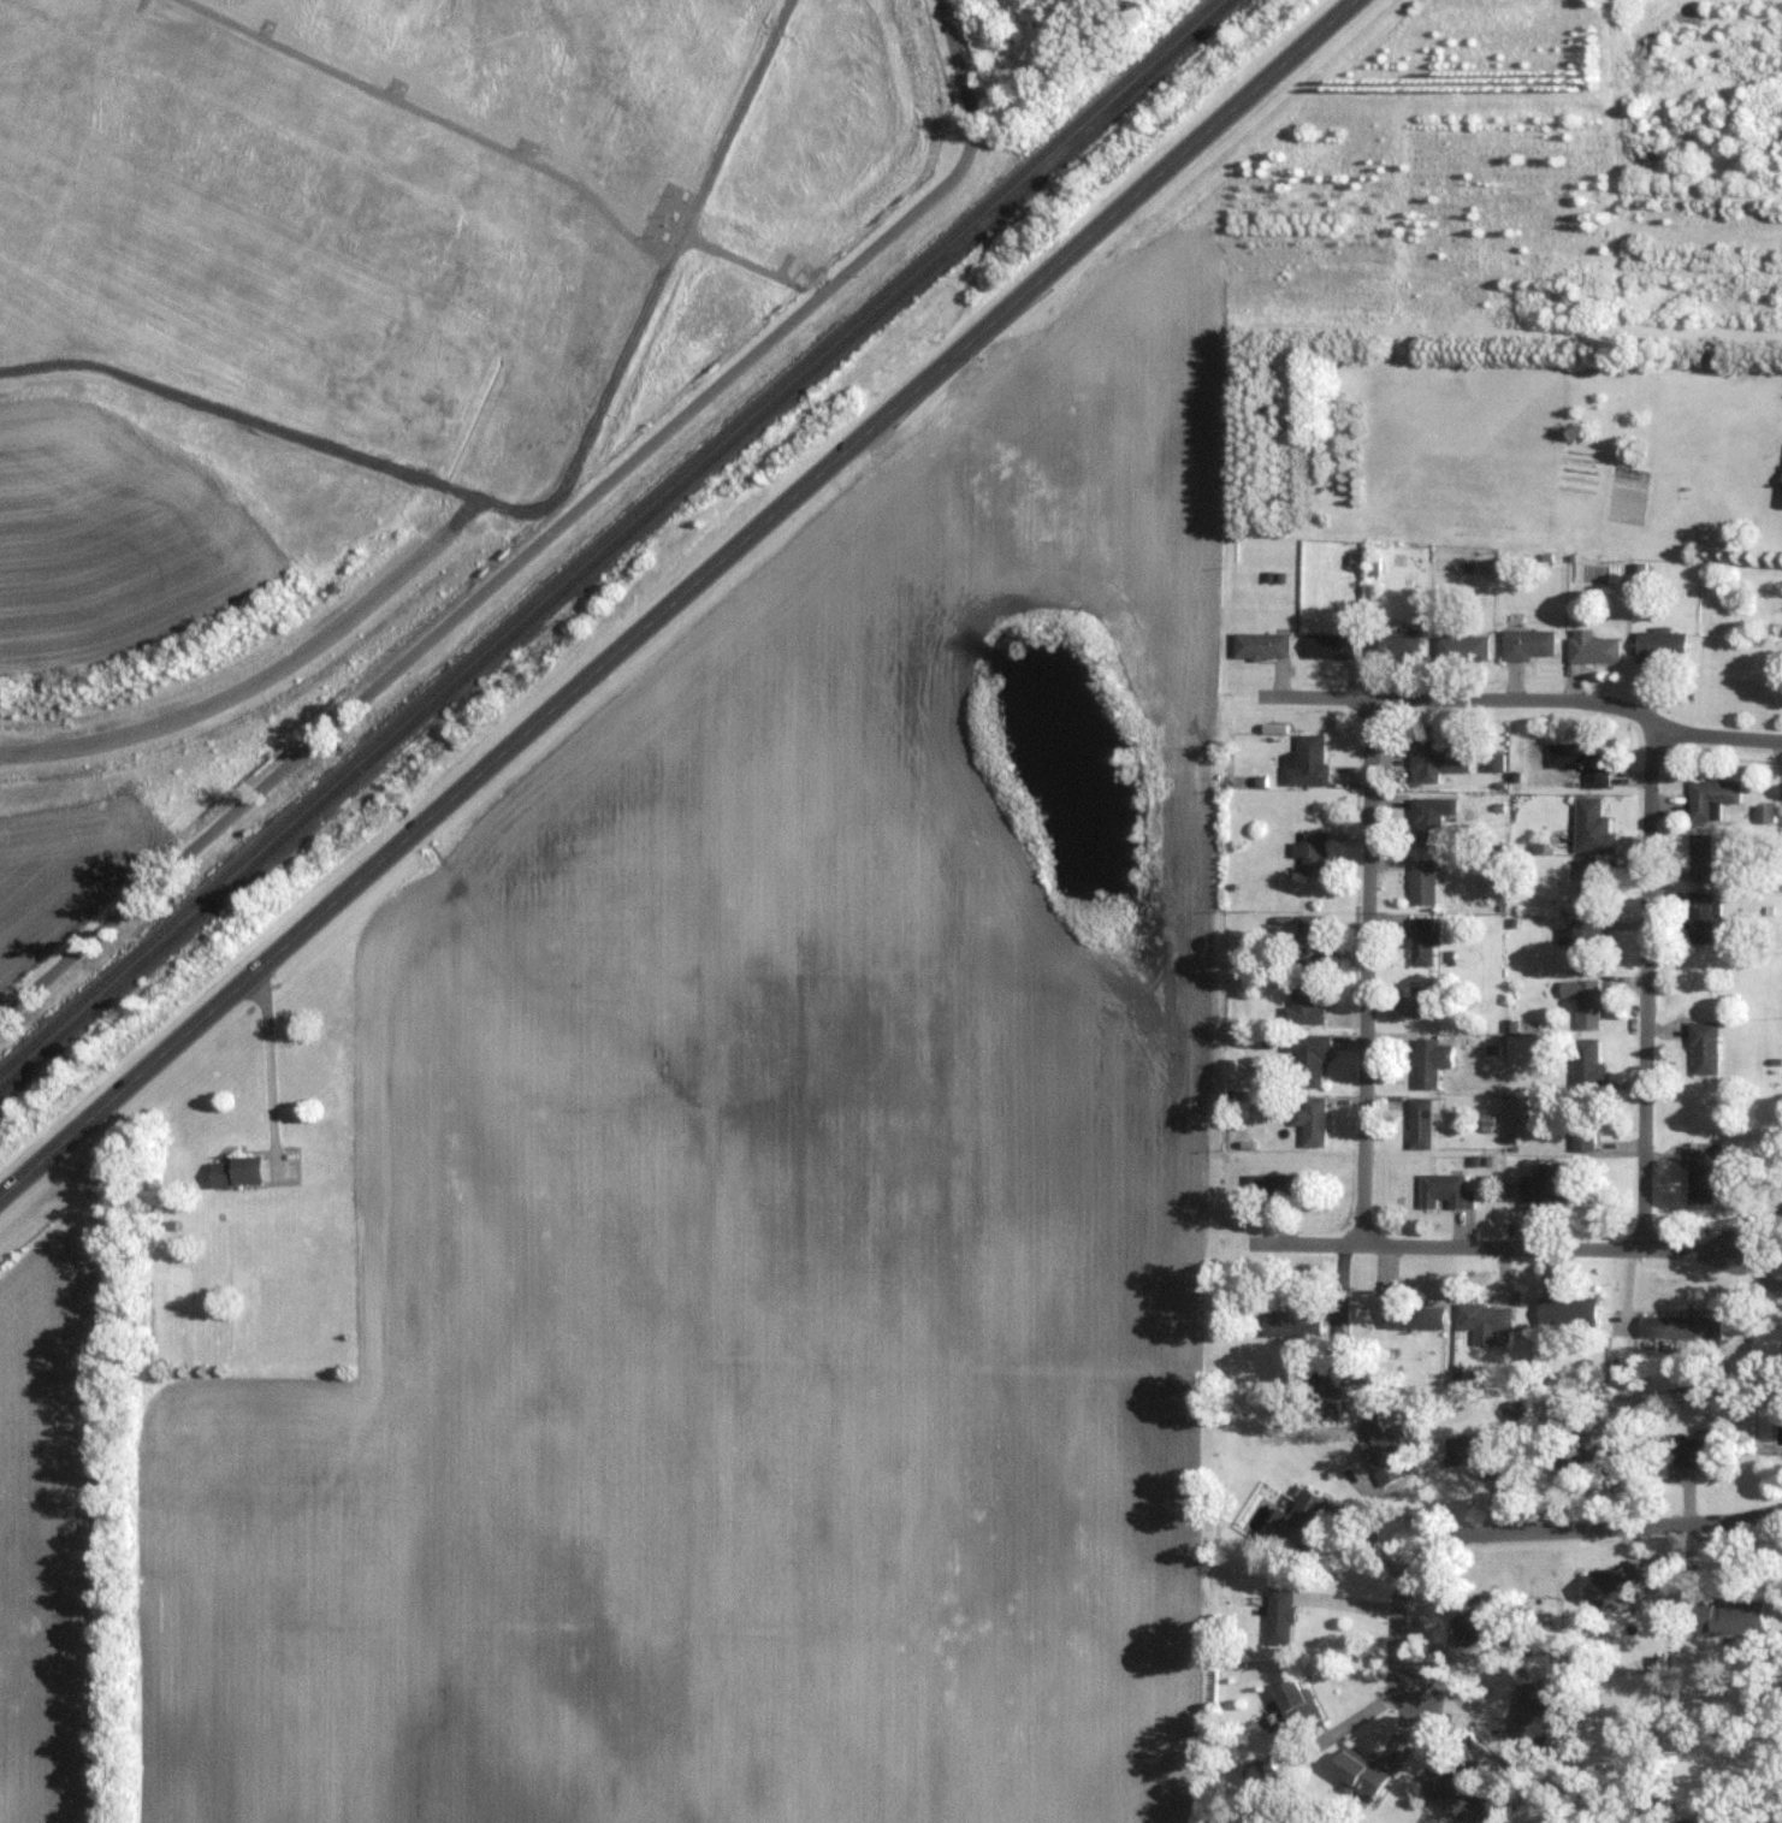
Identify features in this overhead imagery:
airport: (369, 322)
building: (1781, 484)
road: (475, 504)
road: (546, 537)
railway: (606, 537)
railway: (614, 544)
building: (1372, 564)
road: (676, 597)
building: (1392, 641)
building: (1260, 644)
building: (1526, 644)
building: (1328, 645)
building: (1658, 645)
building: (1589, 646)
building: (1460, 649)
road: (1526, 699)
building: (1306, 760)
building: (1435, 760)
building: (1579, 762)
building: (1710, 794)
building: (1427, 819)
building: (1591, 825)
building: (1309, 852)
building: (1699, 856)
building: (1421, 881)
building: (1586, 883)
building: (1699, 916)
building: (1308, 940)
building: (1419, 941)
building: (1585, 943)
road: (1367, 969)
road: (1648, 988)
building: (1306, 1000)
building: (1421, 1000)
building: (1587, 1004)
building: (1703, 1047)
building: (1308, 1058)
road: (276, 1059)
building: (1429, 1060)
building: (1583, 1065)
building: (1309, 1120)
building: (1419, 1123)
building: (1581, 1125)
building: (238, 1170)
building: (1703, 1171)
building: (1280, 1188)
building: (1547, 1188)
building: (1443, 1190)
road: (1497, 1245)
building: (1565, 1312)
building: (1413, 1315)
building: (1290, 1320)
building: (1482, 1320)
building: (1679, 1325)
building: (1781, 1351)
building: (1330, 1373)
building: (1384, 1450)
building: (1476, 1450)
building: (1697, 1450)
building: (1579, 1457)
building: (1296, 1520)
road: (1535, 1531)
building: (1610, 1584)
building: (1278, 1615)
building: (1474, 1617)
building: (1727, 1618)
building: (1293, 1703)
building: (1529, 1712)
building: (1259, 1770)
building: (1356, 1770)
building: (1454, 1791)

